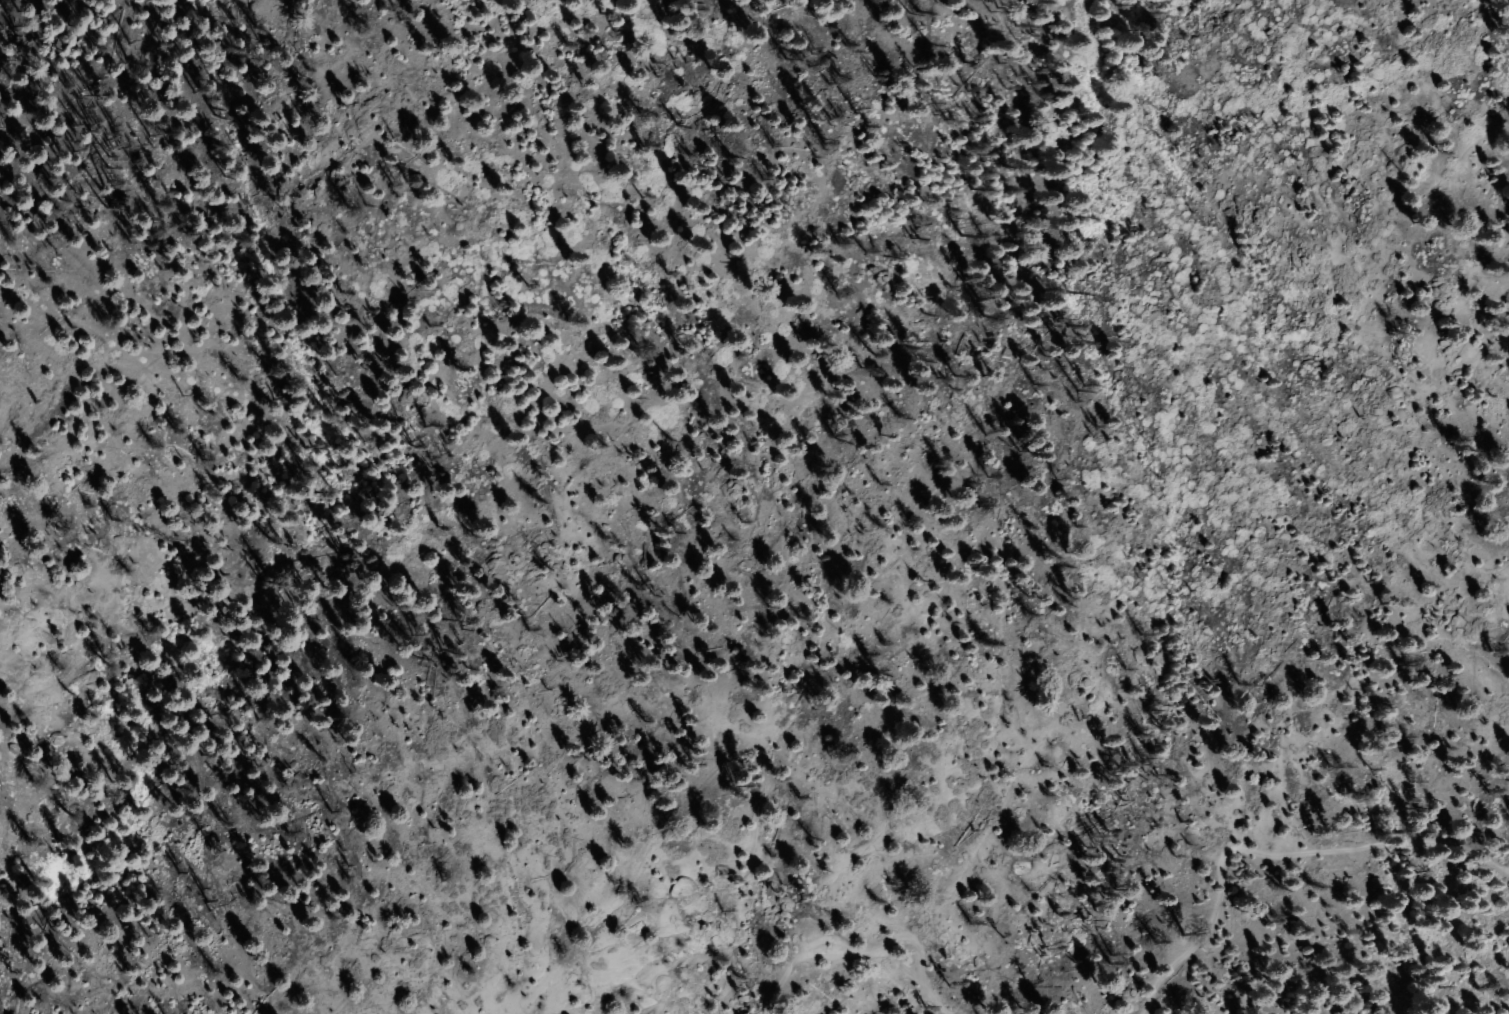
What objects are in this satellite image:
building: (223, 715)
building: (14, 814)
road: (1273, 854)
road: (853, 932)

